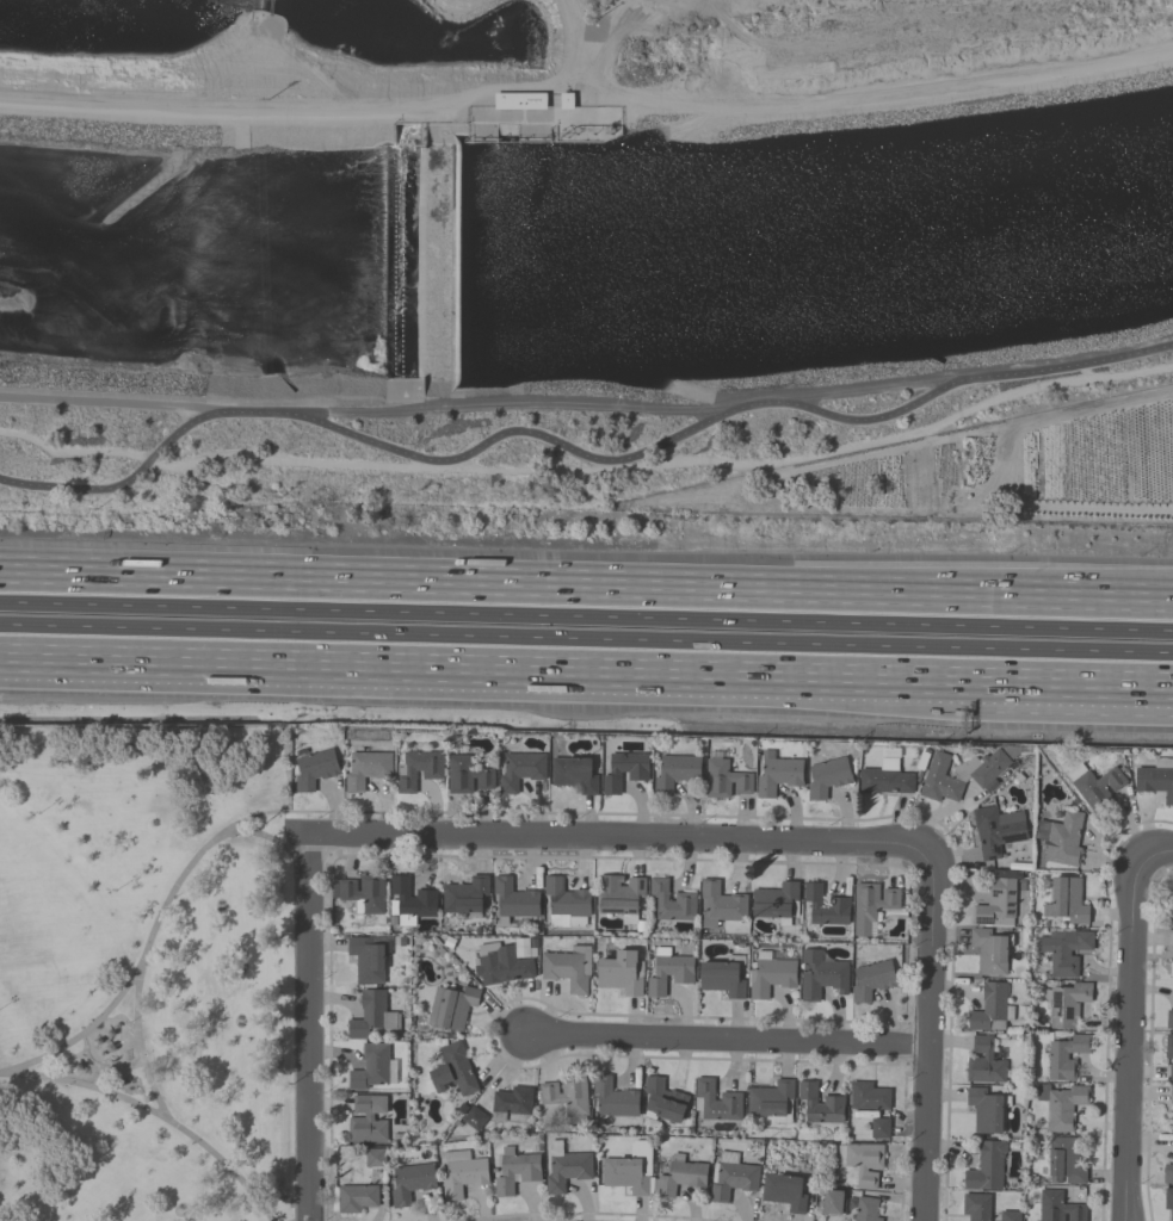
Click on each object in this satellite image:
river: (587, 254)
road: (111, 402)
road: (576, 452)
crop: (1085, 476)
road: (477, 581)
road: (1063, 595)
road: (586, 616)
road: (586, 640)
road: (477, 674)
road: (1064, 687)
building: (988, 767)
building: (419, 768)
building: (316, 769)
building: (368, 769)
building: (624, 769)
building: (520, 770)
building: (674, 771)
building: (574, 773)
building: (467, 774)
building: (777, 774)
building: (826, 776)
building: (723, 777)
building: (885, 777)
building: (939, 779)
building: (1155, 779)
building: (1094, 783)
building: (996, 830)
road: (615, 838)
building: (1061, 838)
road: (1159, 855)
building: (360, 893)
building: (464, 894)
building: (621, 895)
building: (514, 898)
building: (409, 900)
building: (671, 901)
building: (776, 901)
building: (1064, 901)
building: (566, 903)
building: (720, 904)
building: (996, 904)
building: (825, 905)
building: (871, 906)
building: (1171, 917)
road: (153, 923)
building: (1172, 938)
building: (1063, 950)
building: (989, 952)
building: (365, 959)
building: (505, 960)
building: (567, 967)
building: (668, 971)
building: (621, 972)
park: (146, 973)
building: (770, 974)
building: (820, 974)
building: (722, 975)
building: (871, 979)
building: (1066, 1003)
building: (450, 1005)
building: (990, 1008)
building: (370, 1014)
building: (1168, 1019)
road: (308, 1027)
road: (79, 1034)
road: (928, 1034)
road: (1129, 1039)
road: (727, 1041)
building: (1168, 1046)
building: (1064, 1055)
building: (983, 1061)
building: (370, 1066)
building: (452, 1068)
building: (1171, 1071)
building: (564, 1093)
building: (1171, 1093)
building: (869, 1096)
building: (613, 1097)
building: (715, 1101)
building: (770, 1101)
building: (511, 1102)
building: (660, 1102)
building: (819, 1104)
building: (1061, 1104)
building: (987, 1109)
road: (154, 1114)
building: (474, 1117)
building: (366, 1118)
building: (879, 1127)
building: (373, 1158)
building: (1064, 1159)
building: (862, 1161)
building: (986, 1166)
building: (566, 1167)
building: (514, 1170)
building: (630, 1170)
building: (461, 1172)
building: (1167, 1173)
building: (680, 1176)
building: (730, 1176)
building: (409, 1182)
building: (783, 1191)
building: (356, 1196)
building: (1168, 1201)
building: (832, 1202)
building: (975, 1207)
building: (1057, 1207)
building: (865, 1209)
building: (1010, 1215)

